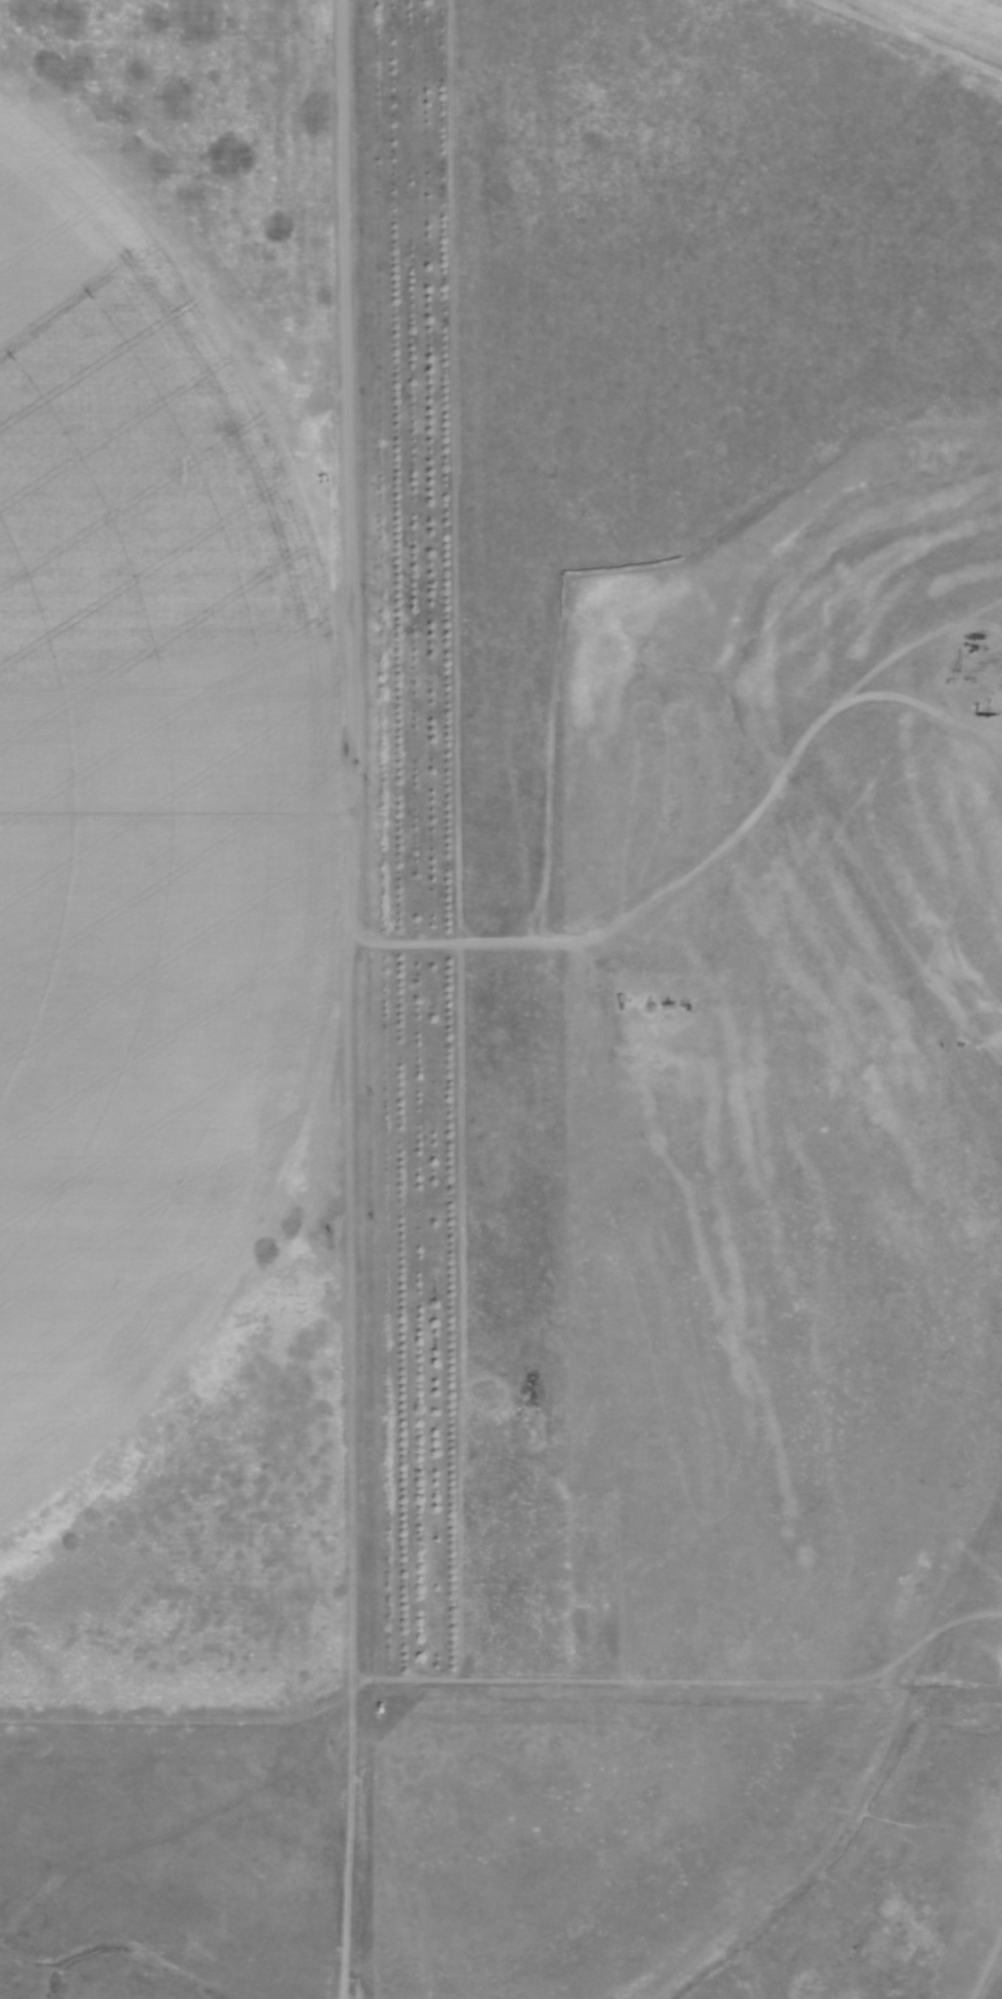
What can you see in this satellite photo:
crop: (966, 13)
crop: (140, 804)
road: (350, 999)

